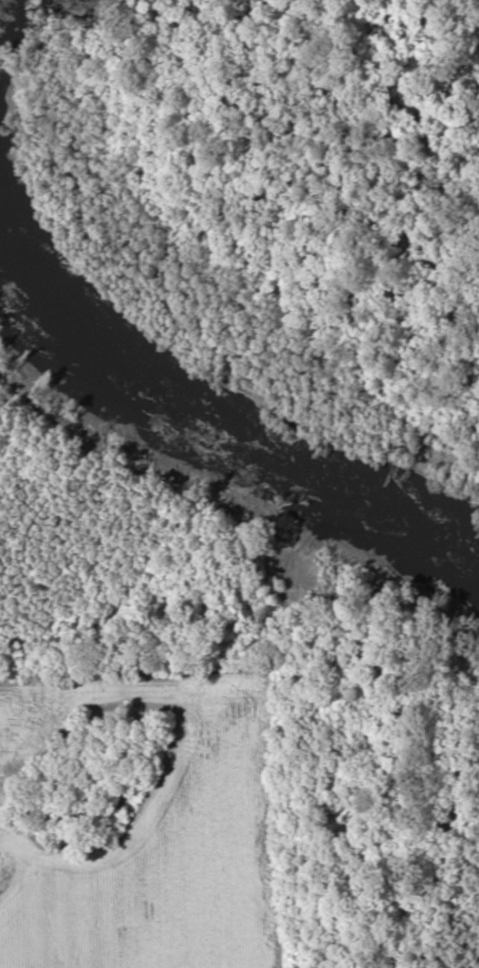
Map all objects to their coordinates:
river: (217, 416)

